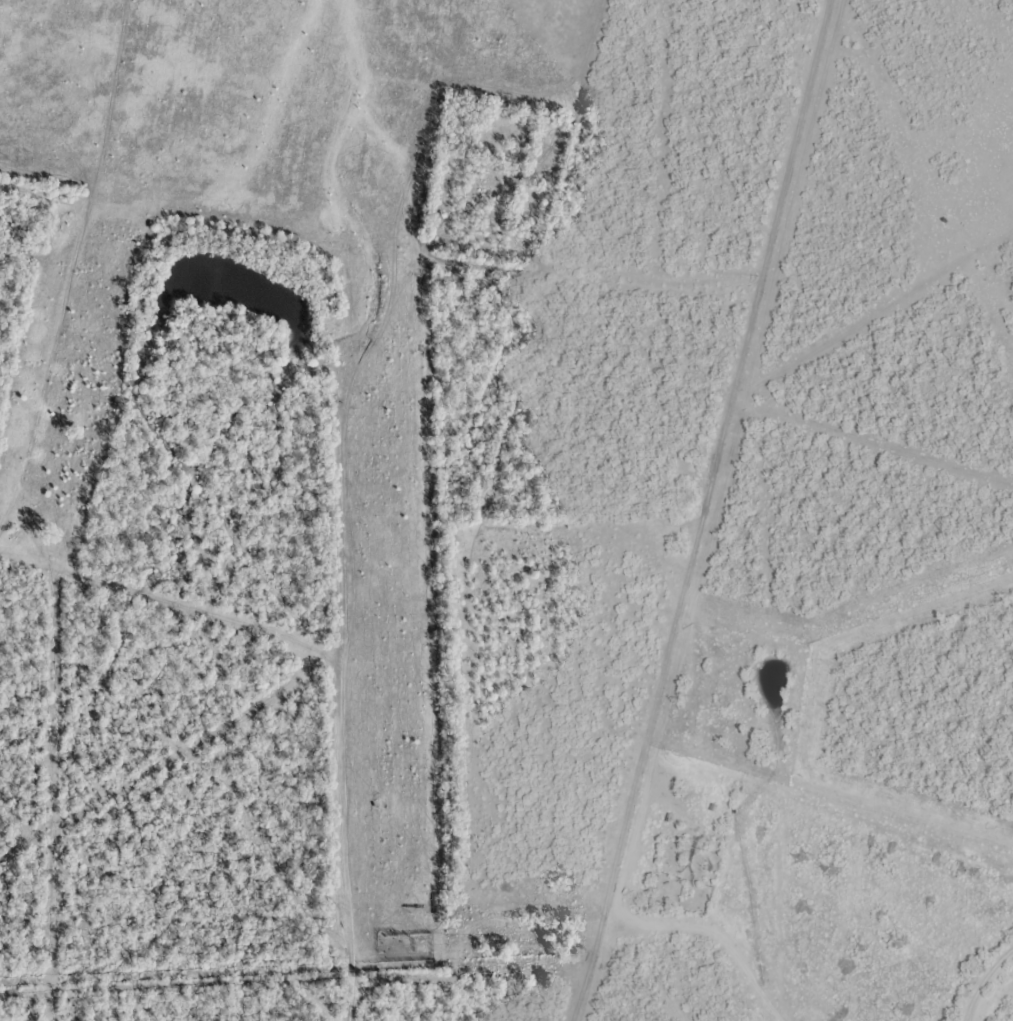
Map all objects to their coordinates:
road: (46, 53)
road: (1006, 1007)

